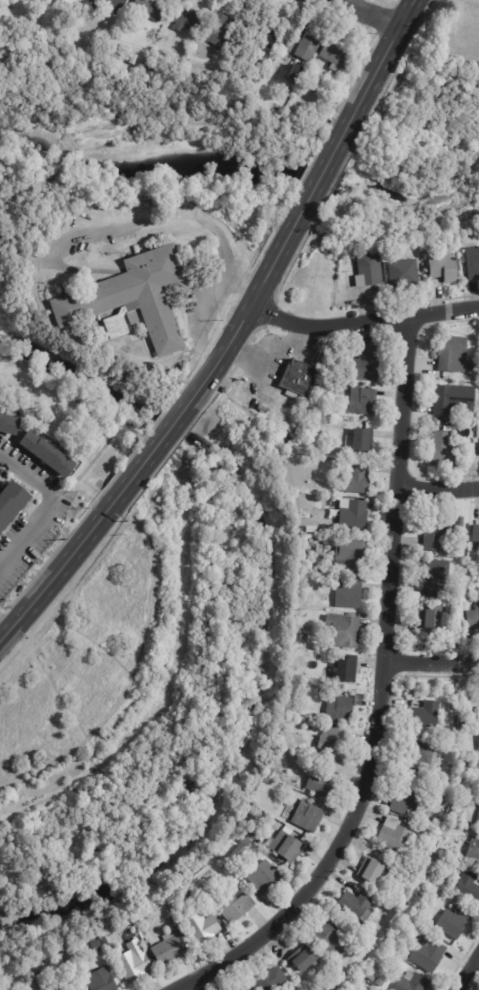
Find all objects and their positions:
building: (72, 1)
building: (38, 2)
building: (114, 5)
building: (150, 8)
road: (370, 12)
building: (188, 19)
building: (219, 31)
building: (268, 37)
building: (291, 43)
building: (308, 48)
building: (337, 55)
road: (382, 57)
building: (135, 59)
building: (305, 84)
park: (146, 119)
park: (418, 153)
road: (321, 177)
building: (470, 262)
building: (440, 266)
building: (367, 271)
building: (399, 273)
building: (135, 298)
road: (245, 310)
road: (361, 321)
building: (450, 353)
building: (366, 363)
building: (298, 378)
building: (477, 387)
building: (452, 399)
building: (365, 400)
building: (10, 423)
road: (159, 440)
building: (363, 440)
building: (478, 447)
building: (440, 450)
building: (50, 452)
building: (318, 452)
building: (357, 478)
road: (439, 490)
building: (12, 503)
road: (51, 513)
building: (354, 515)
building: (314, 529)
building: (302, 530)
building: (439, 534)
building: (475, 535)
building: (311, 540)
building: (321, 550)
building: (352, 554)
road: (57, 569)
building: (431, 575)
building: (350, 594)
building: (428, 616)
building: (472, 616)
road: (5, 624)
building: (344, 631)
building: (304, 638)
road: (433, 663)
building: (344, 670)
park: (140, 689)
road: (383, 694)
building: (453, 708)
building: (341, 710)
building: (477, 710)
building: (428, 715)
building: (461, 733)
building: (283, 736)
building: (478, 739)
building: (334, 743)
building: (419, 757)
building: (273, 773)
building: (269, 780)
building: (322, 781)
building: (463, 787)
building: (408, 802)
building: (456, 815)
building: (310, 817)
building: (478, 823)
building: (396, 837)
building: (430, 838)
building: (248, 842)
building: (287, 846)
building: (474, 848)
building: (239, 853)
building: (440, 859)
building: (374, 871)
building: (266, 877)
building: (467, 886)
building: (462, 900)
building: (357, 906)
building: (236, 907)
building: (454, 923)
building: (204, 929)
building: (335, 937)
building: (98, 946)
building: (170, 950)
building: (430, 955)
building: (305, 960)
building: (135, 964)
road: (468, 973)
building: (100, 979)
building: (273, 980)
building: (380, 981)
building: (416, 983)
building: (71, 987)
building: (245, 988)
building: (251, 989)
building: (350, 989)

